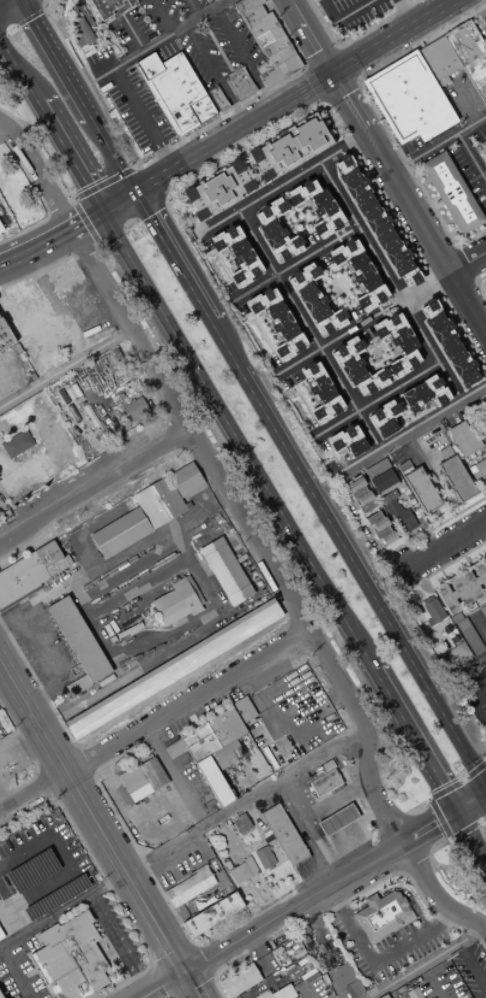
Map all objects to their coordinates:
building: (118, 0)
road: (44, 1)
building: (107, 1)
building: (208, 1)
road: (4, 2)
building: (128, 2)
building: (113, 4)
building: (245, 4)
building: (103, 7)
building: (118, 8)
building: (96, 9)
road: (194, 9)
building: (253, 13)
road: (407, 13)
road: (22, 15)
road: (162, 17)
road: (343, 17)
traffic signals: (31, 20)
building: (262, 24)
building: (82, 29)
road: (104, 31)
road: (132, 33)
building: (267, 35)
road: (312, 37)
road: (353, 38)
road: (397, 38)
road: (102, 45)
road: (153, 45)
building: (273, 45)
building: (469, 55)
road: (320, 56)
road: (55, 58)
building: (274, 58)
building: (438, 58)
road: (242, 61)
road: (346, 62)
building: (148, 65)
building: (286, 66)
road: (18, 73)
building: (229, 73)
building: (139, 74)
road: (216, 77)
building: (267, 78)
road: (357, 80)
building: (244, 82)
road: (312, 84)
building: (173, 85)
road: (312, 87)
building: (234, 88)
road: (339, 90)
building: (217, 98)
building: (408, 98)
road: (464, 100)
road: (321, 103)
building: (201, 109)
road: (375, 114)
road: (143, 119)
building: (180, 121)
road: (3, 134)
building: (482, 146)
road: (213, 147)
building: (289, 147)
road: (439, 147)
road: (169, 148)
road: (38, 152)
road: (113, 154)
road: (69, 158)
road: (472, 159)
road: (210, 169)
road: (392, 174)
road: (287, 179)
road: (151, 182)
road: (89, 189)
building: (216, 189)
traffic signals: (135, 193)
building: (451, 193)
park: (17, 195)
road: (164, 199)
road: (40, 201)
road: (118, 202)
building: (317, 207)
traffic signals: (101, 212)
road: (47, 216)
road: (83, 220)
building: (373, 220)
road: (77, 224)
road: (116, 226)
building: (1, 229)
building: (276, 232)
road: (360, 232)
road: (348, 234)
road: (27, 252)
road: (72, 254)
building: (236, 255)
road: (173, 258)
road: (466, 262)
road: (467, 263)
road: (39, 270)
road: (285, 270)
building: (358, 272)
building: (64, 275)
building: (301, 276)
building: (409, 278)
road: (477, 287)
road: (426, 289)
building: (70, 292)
road: (90, 304)
road: (468, 305)
road: (391, 310)
building: (319, 311)
parking lot: (90, 314)
building: (277, 322)
road: (304, 325)
road: (103, 327)
building: (5, 336)
road: (466, 337)
road: (337, 341)
building: (397, 343)
building: (448, 345)
road: (429, 347)
building: (349, 360)
road: (65, 367)
road: (10, 370)
parking lot: (13, 371)
building: (371, 383)
building: (320, 393)
building: (423, 394)
road: (376, 399)
building: (135, 409)
building: (383, 420)
road: (413, 430)
building: (463, 439)
building: (347, 440)
road: (234, 442)
building: (16, 444)
building: (476, 453)
building: (375, 467)
building: (404, 468)
building: (478, 472)
building: (184, 479)
building: (456, 479)
building: (382, 481)
road: (95, 488)
building: (421, 490)
building: (360, 496)
building: (158, 502)
building: (0, 503)
building: (397, 513)
road: (441, 522)
building: (380, 529)
building: (119, 532)
road: (250, 532)
road: (446, 544)
road: (348, 556)
building: (485, 558)
building: (67, 560)
road: (450, 562)
building: (30, 571)
building: (224, 571)
road: (389, 575)
road: (445, 579)
building: (462, 588)
building: (193, 589)
road: (453, 593)
building: (175, 602)
building: (431, 610)
road: (467, 614)
building: (484, 615)
building: (454, 617)
road: (478, 624)
building: (467, 634)
building: (78, 639)
railway: (144, 661)
road: (474, 663)
building: (172, 668)
building: (78, 685)
road: (481, 689)
road: (41, 691)
road: (265, 692)
gas station: (474, 698)
road: (481, 700)
building: (243, 709)
road: (153, 721)
building: (225, 727)
building: (193, 734)
road: (409, 742)
road: (19, 745)
road: (77, 748)
building: (173, 748)
building: (202, 748)
building: (243, 748)
road: (31, 756)
building: (223, 756)
building: (268, 758)
road: (484, 758)
road: (83, 761)
road: (58, 762)
building: (257, 767)
road: (178, 772)
road: (38, 773)
road: (93, 773)
building: (152, 774)
building: (214, 782)
road: (458, 782)
building: (133, 783)
building: (324, 783)
road: (47, 785)
road: (73, 785)
road: (4, 799)
road: (54, 799)
road: (121, 799)
road: (336, 801)
road: (244, 802)
road: (419, 806)
gas station: (333, 808)
traffic signals: (450, 813)
road: (441, 818)
building: (336, 820)
building: (240, 824)
road: (349, 827)
road: (469, 828)
road: (308, 830)
road: (99, 831)
building: (283, 834)
road: (161, 836)
road: (228, 839)
road: (129, 841)
road: (468, 843)
road: (439, 845)
building: (263, 857)
road: (415, 860)
road: (69, 866)
road: (166, 867)
building: (250, 867)
building: (31, 871)
road: (403, 871)
building: (239, 874)
road: (104, 879)
road: (411, 883)
building: (189, 887)
road: (216, 891)
road: (313, 894)
road: (410, 896)
building: (55, 897)
road: (408, 898)
road: (370, 901)
road: (73, 902)
road: (256, 902)
road: (355, 911)
building: (212, 915)
building: (380, 915)
building: (407, 918)
road: (16, 921)
building: (1, 935)
road: (11, 939)
road: (115, 945)
road: (195, 946)
road: (173, 957)
building: (69, 958)
road: (201, 960)
road: (375, 963)
road: (424, 963)
road: (150, 965)
road: (266, 965)
road: (471, 968)
road: (14, 973)
road: (212, 974)
road: (214, 979)
building: (349, 979)
building: (239, 980)
road: (163, 981)
road: (430, 981)
road: (190, 984)
road: (485, 991)
building: (413, 993)
building: (0, 995)
building: (263, 995)
building: (383, 996)
road: (172, 997)
road: (396, 997)
road: (484, 997)

